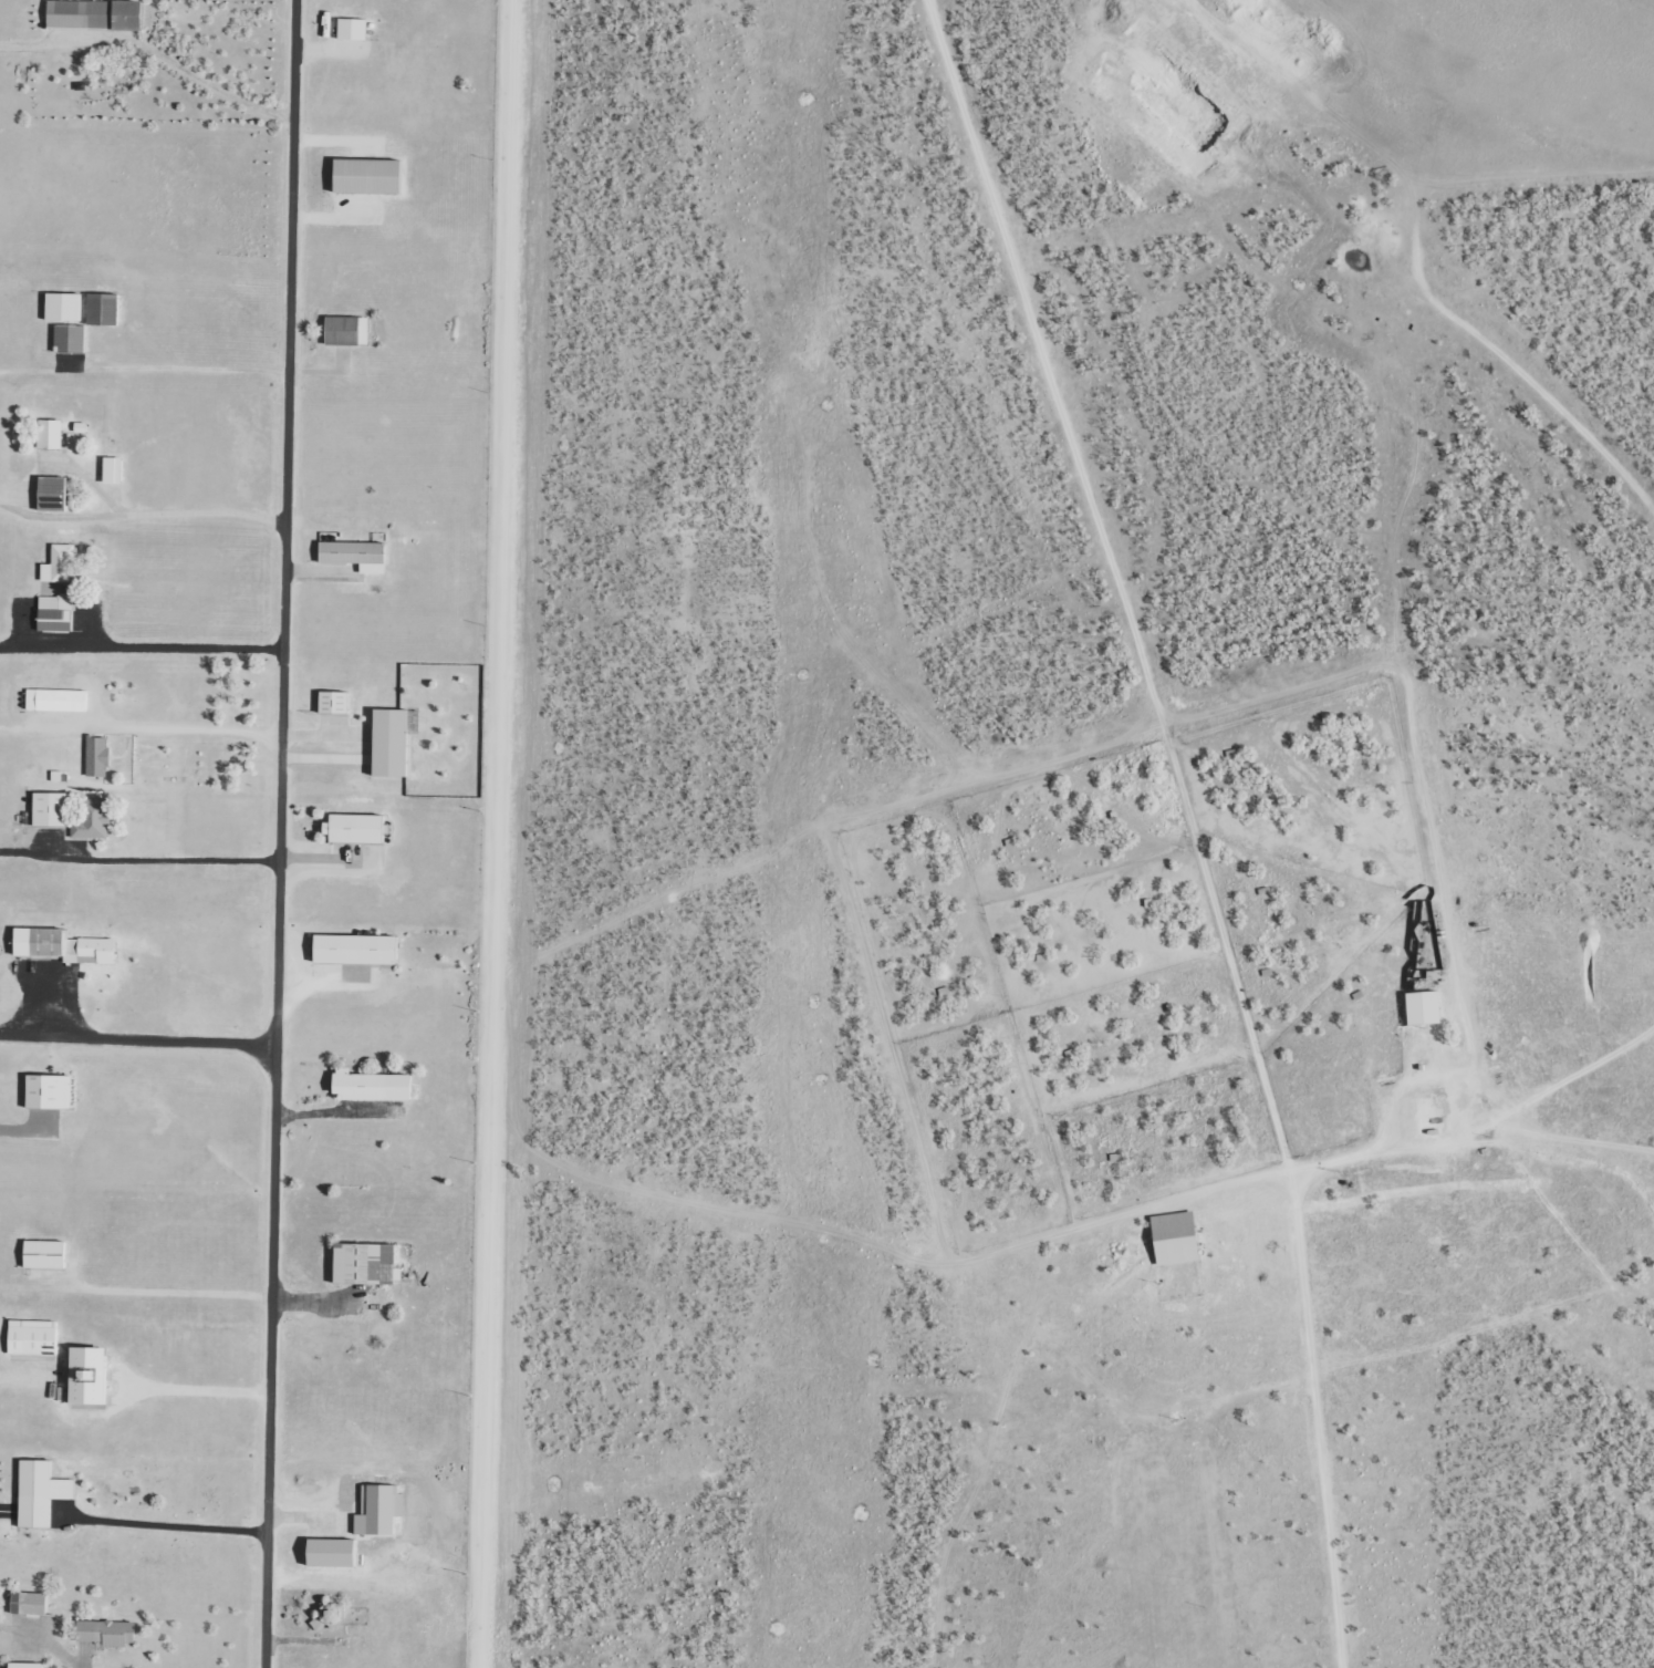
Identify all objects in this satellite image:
airport hangar: (96, 14)
building: (96, 14)
airport hangar: (353, 31)
building: (353, 31)
airport hangar: (372, 176)
building: (372, 176)
road: (145, 247)
airport hangar: (64, 305)
building: (64, 305)
airport hangar: (104, 310)
building: (104, 310)
airport hangar: (345, 330)
building: (345, 330)
airport hangar: (70, 340)
building: (70, 340)
road: (382, 369)
building: (48, 434)
building: (112, 469)
building: (50, 494)
building: (353, 555)
building: (58, 564)
building: (53, 613)
road: (141, 647)
building: (55, 700)
building: (332, 702)
building: (388, 743)
building: (95, 756)
building: (71, 816)
airport: (240, 825)
building: (353, 828)
road: (277, 833)
building: (61, 946)
airport hangar: (357, 949)
building: (357, 949)
building: (1422, 1008)
road: (136, 1040)
building: (370, 1086)
building: (46, 1092)
road: (370, 1220)
building: (1174, 1239)
building: (43, 1254)
building: (364, 1265)
road: (1327, 1265)
building: (31, 1338)
building: (86, 1377)
airport hangar: (40, 1492)
building: (40, 1492)
building: (377, 1510)
building: (330, 1552)
building: (27, 1603)
building: (105, 1633)
building: (23, 1665)

